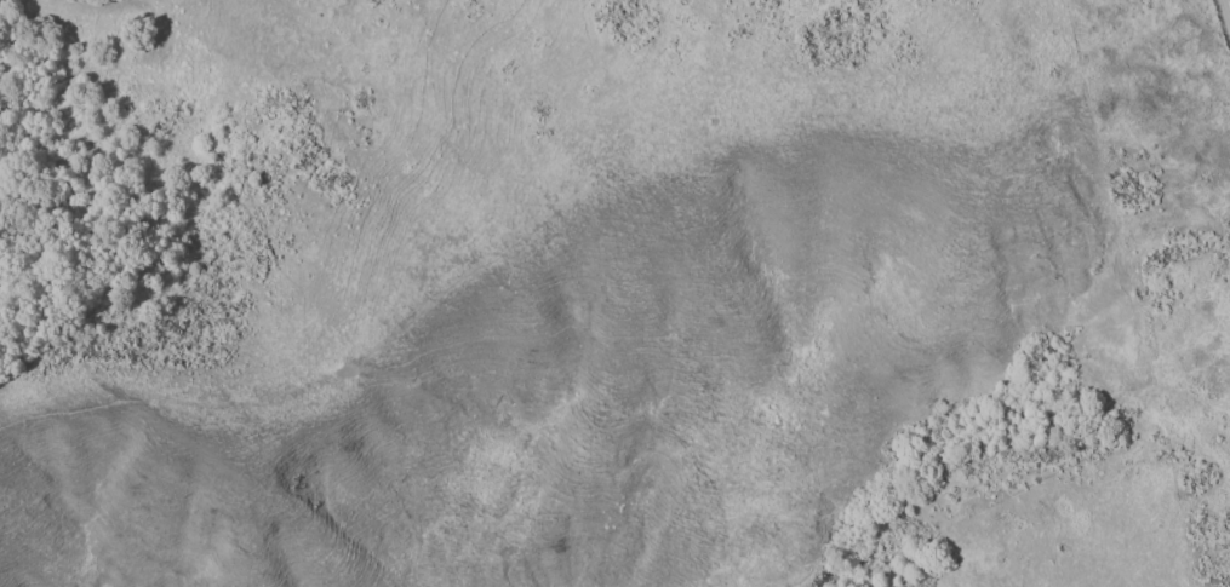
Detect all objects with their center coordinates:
road: (1223, 16)

